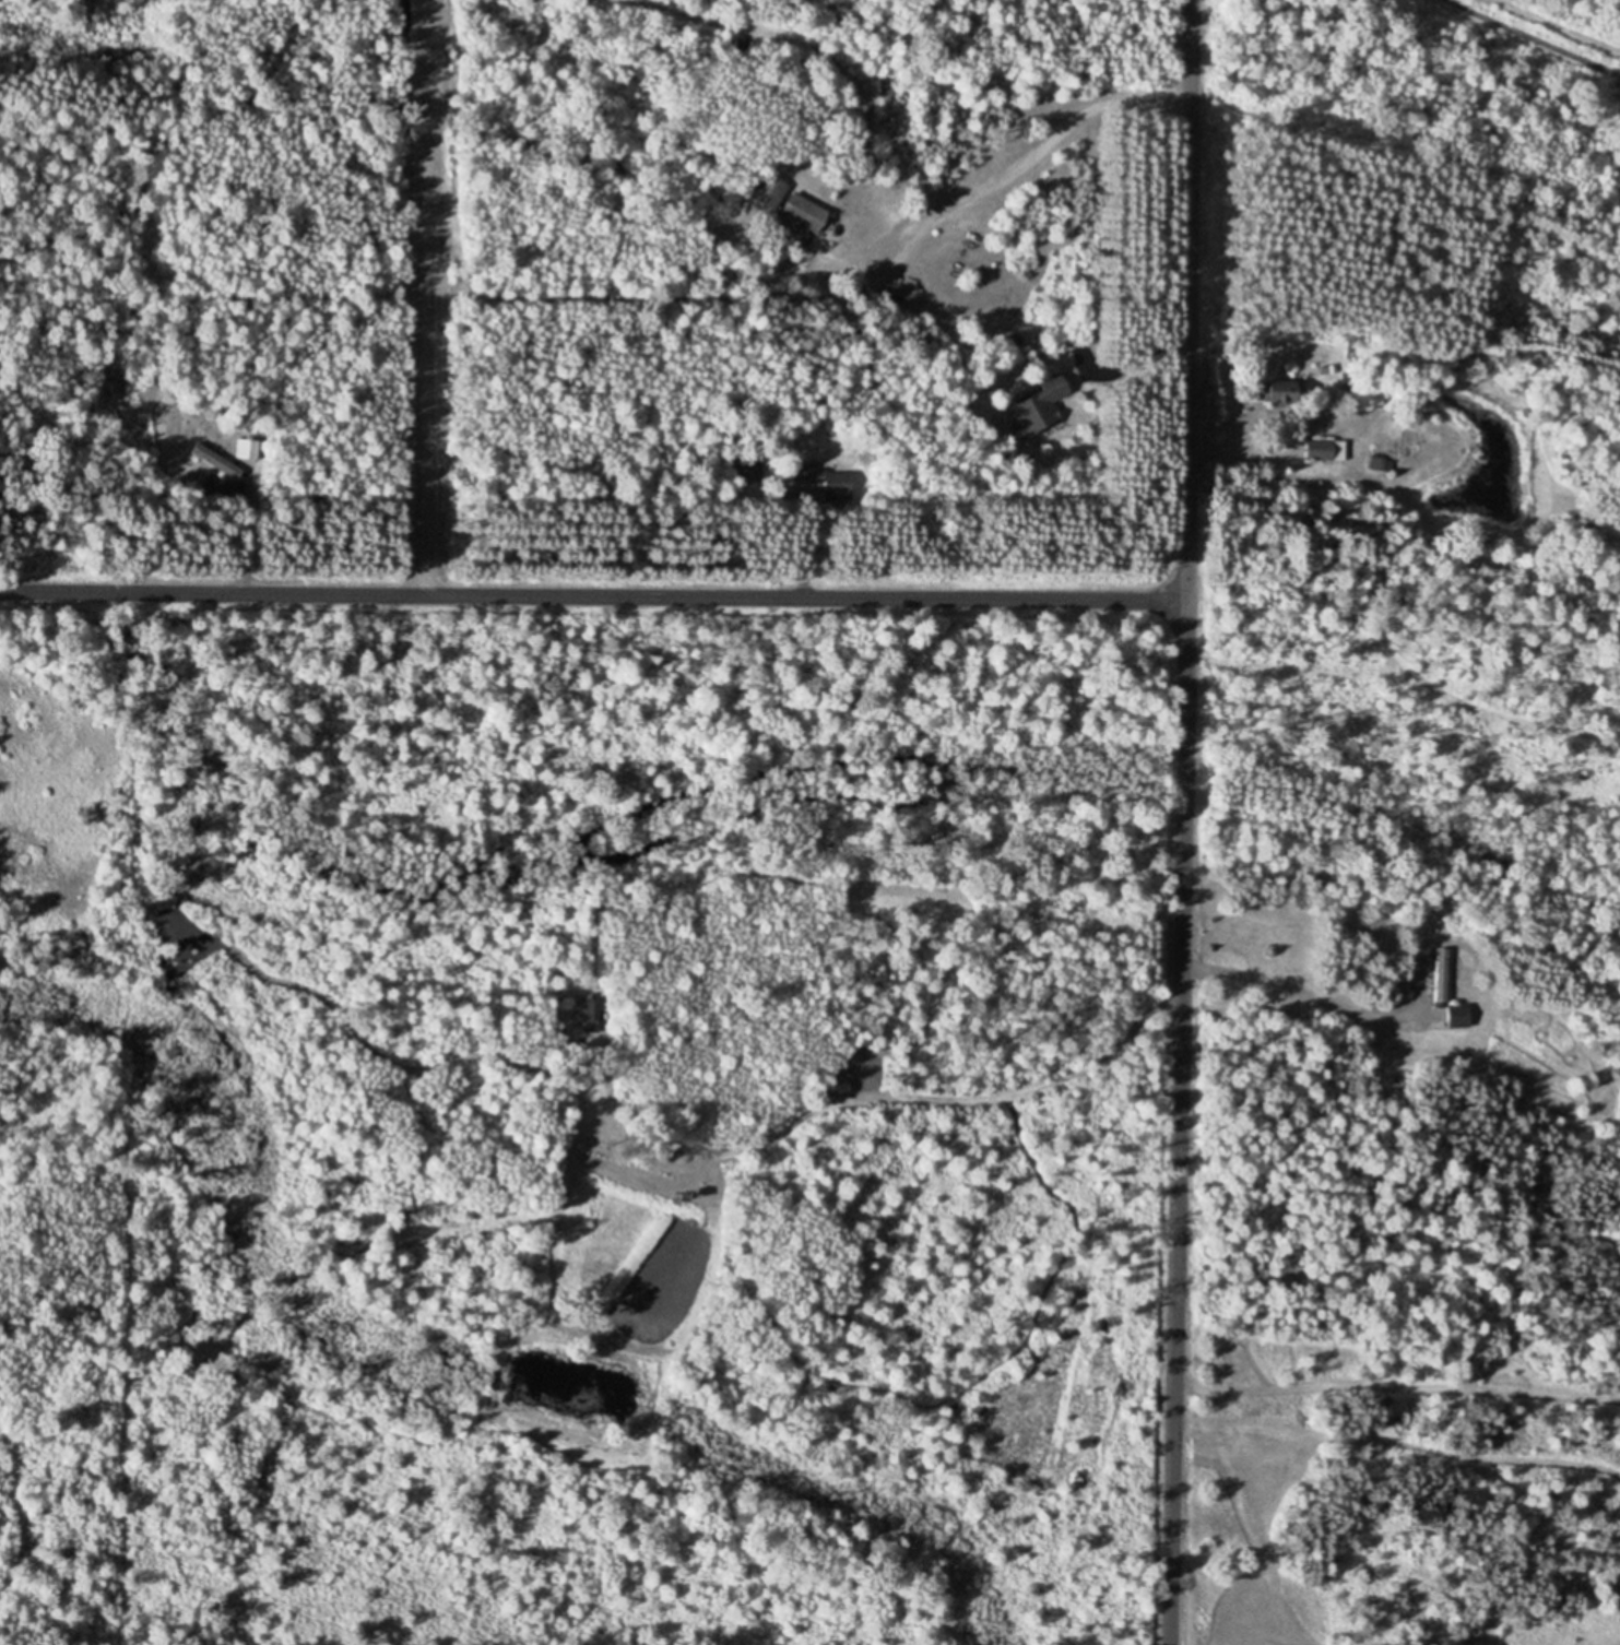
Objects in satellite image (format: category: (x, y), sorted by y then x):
railway: (1532, 37)
building: (768, 191)
road: (948, 206)
building: (804, 214)
building: (1284, 392)
building: (1032, 414)
road: (1227, 449)
building: (246, 450)
building: (1325, 450)
building: (212, 461)
building: (1376, 463)
building: (817, 481)
road: (244, 547)
road: (803, 555)
road: (591, 594)
road: (1183, 822)
building: (1441, 966)
road: (1276, 985)
building: (1458, 1015)

